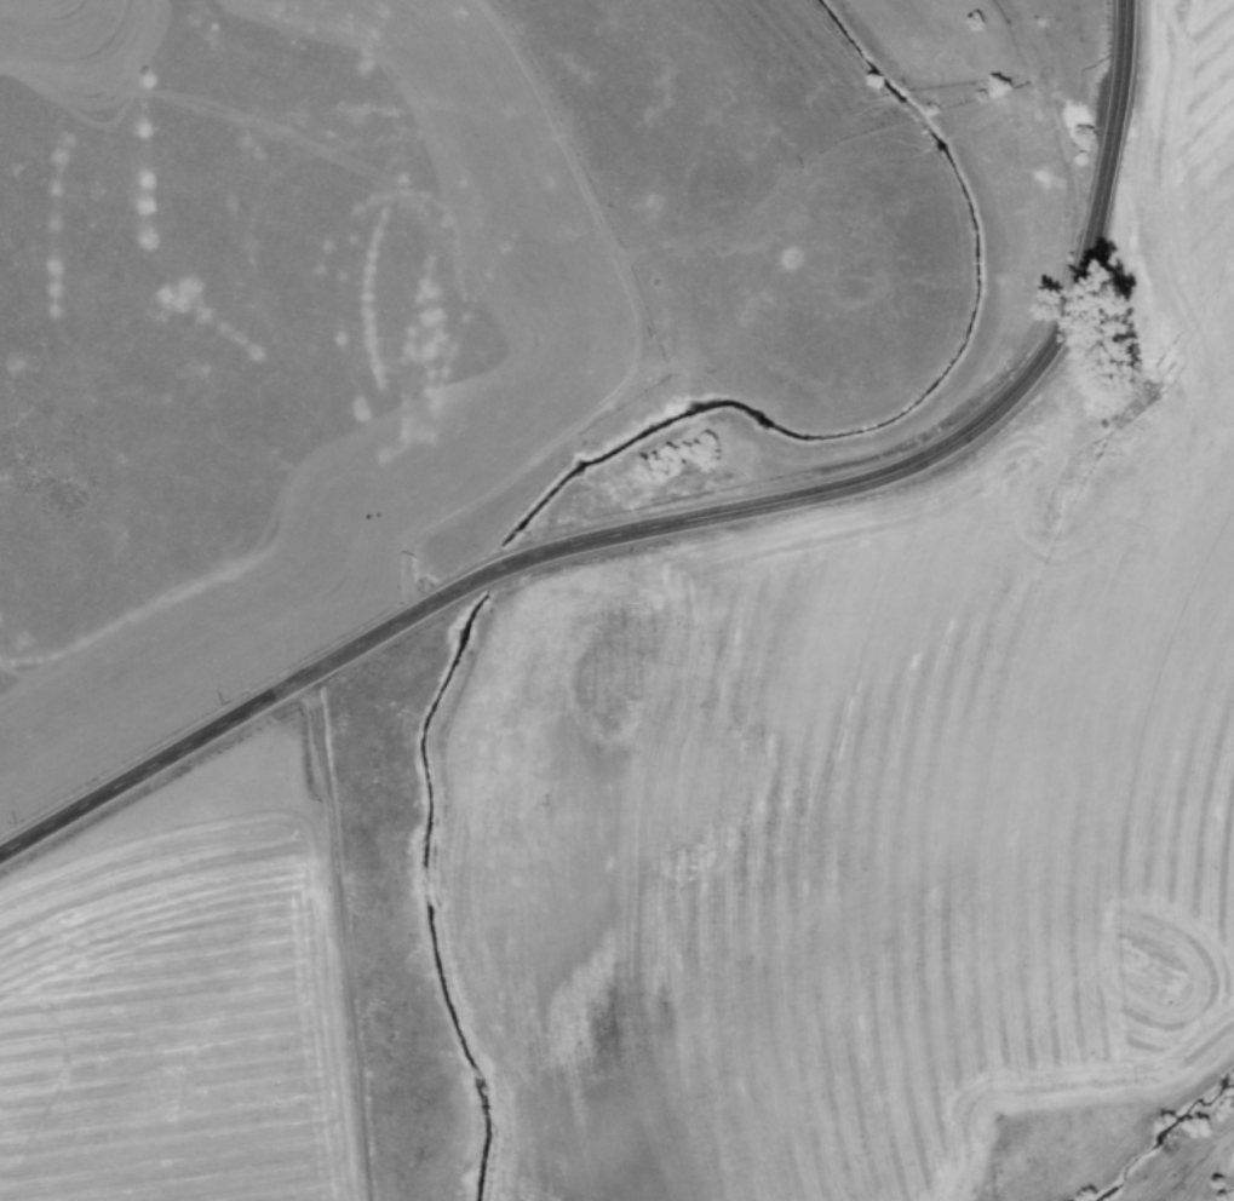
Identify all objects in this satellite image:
road: (605, 326)
road: (688, 517)
road: (332, 937)

